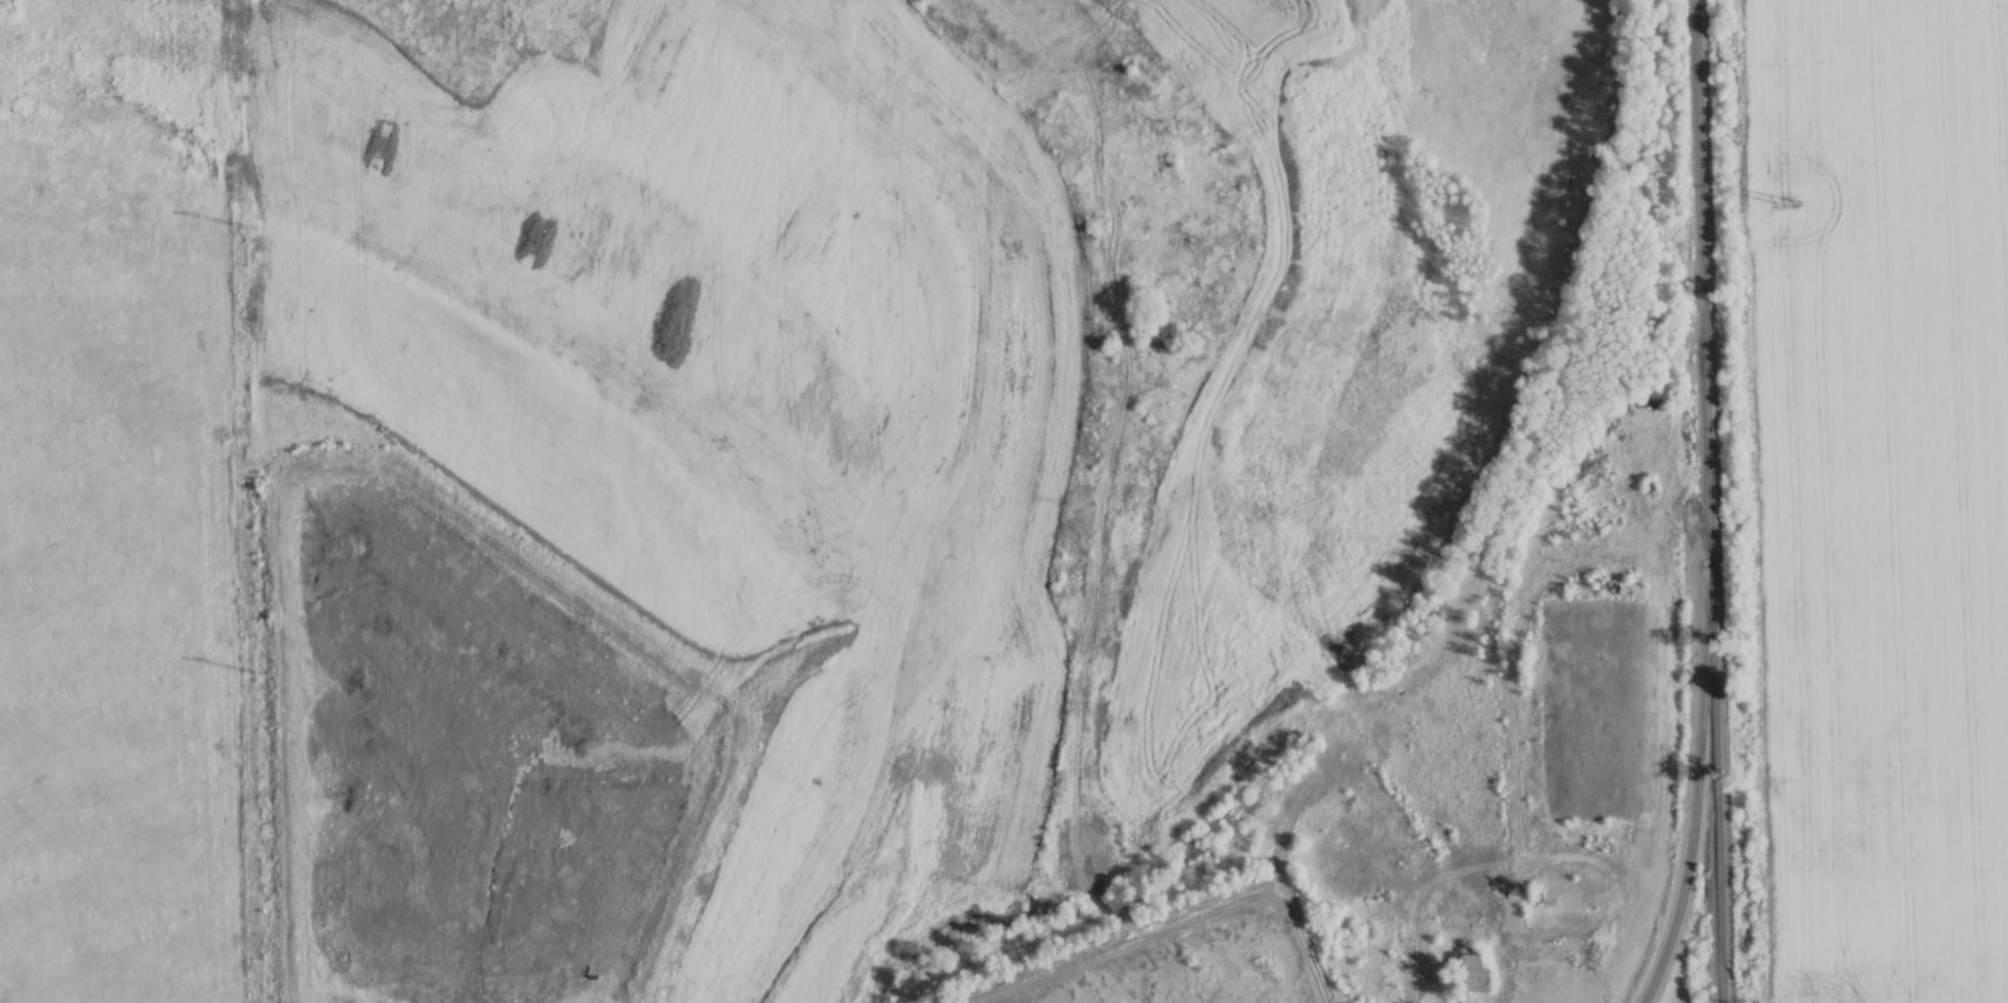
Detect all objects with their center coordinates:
power tower: (1784, 198)
power tower: (262, 223)
railway: (1699, 288)
power tower: (272, 665)
railway: (1721, 789)
railway: (1698, 794)
building: (1470, 970)
road: (1414, 972)
building: (1561, 975)

